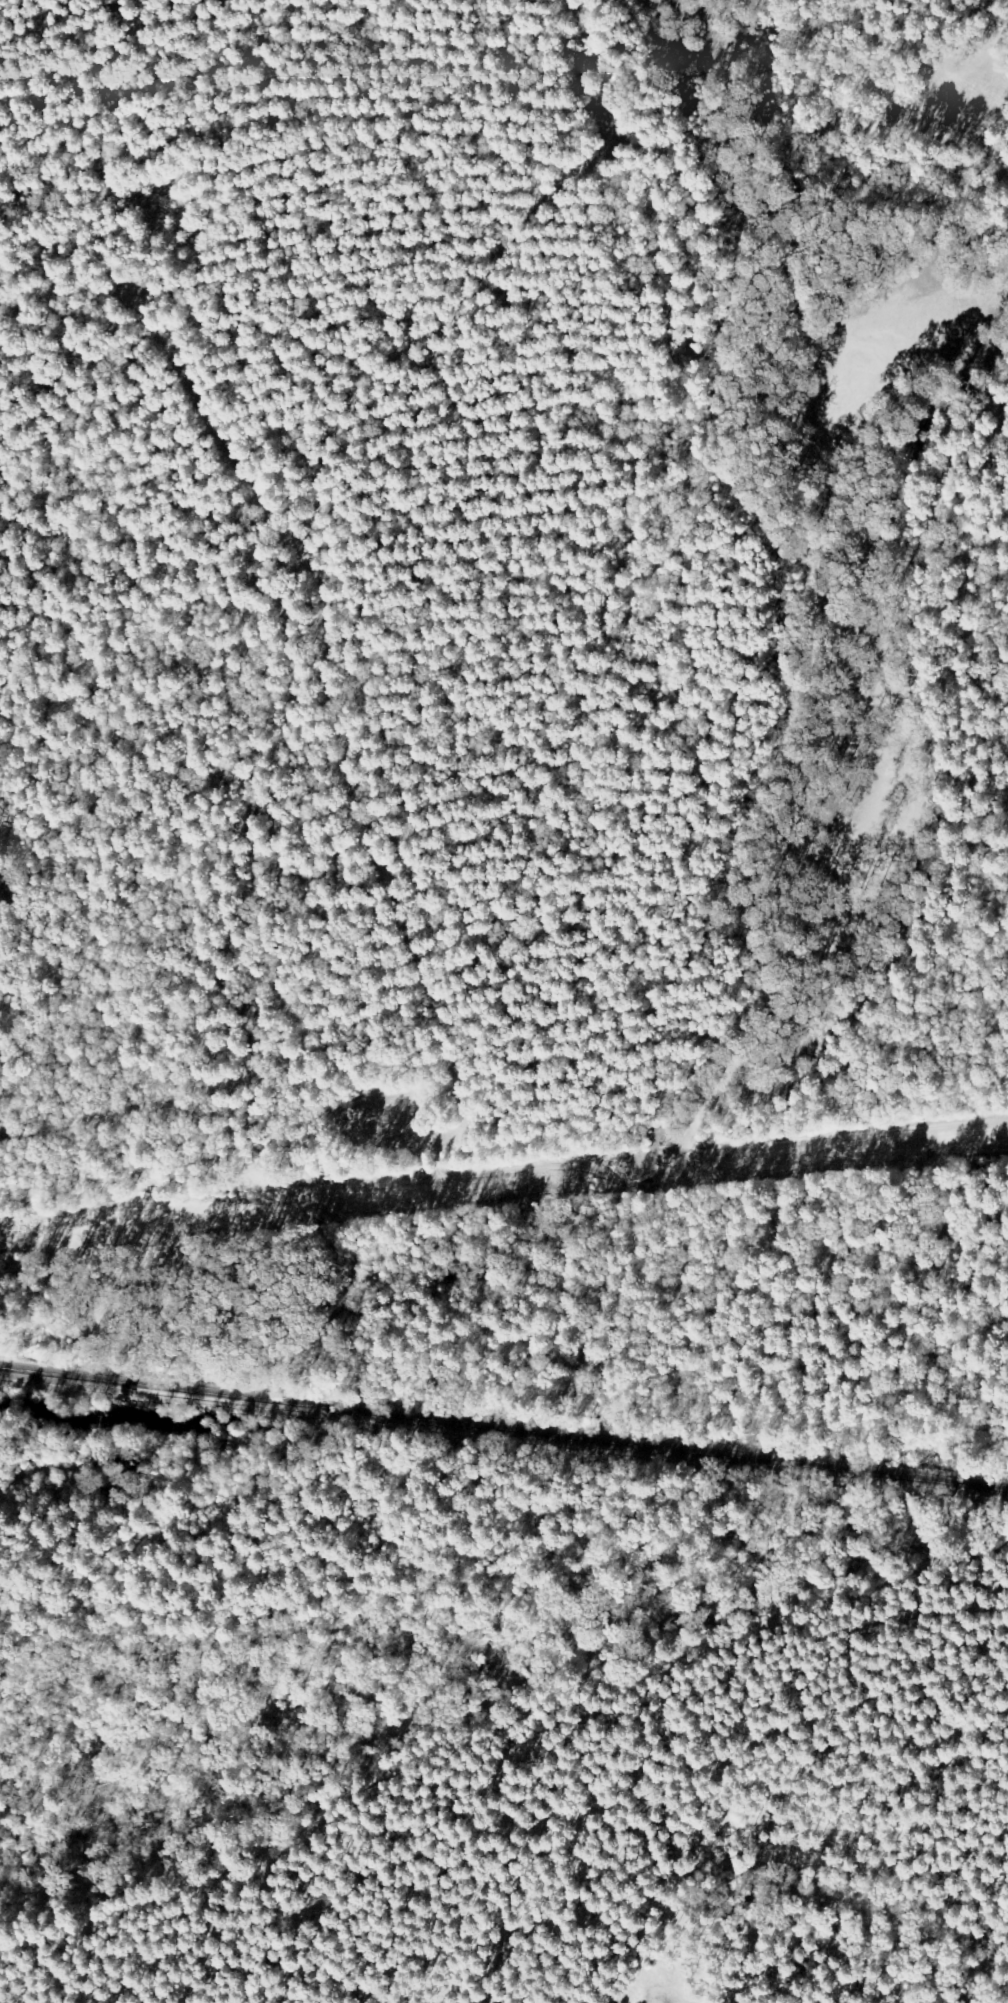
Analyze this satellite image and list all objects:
power tower: (697, 1161)
power tower: (336, 1199)
railway: (503, 1429)

